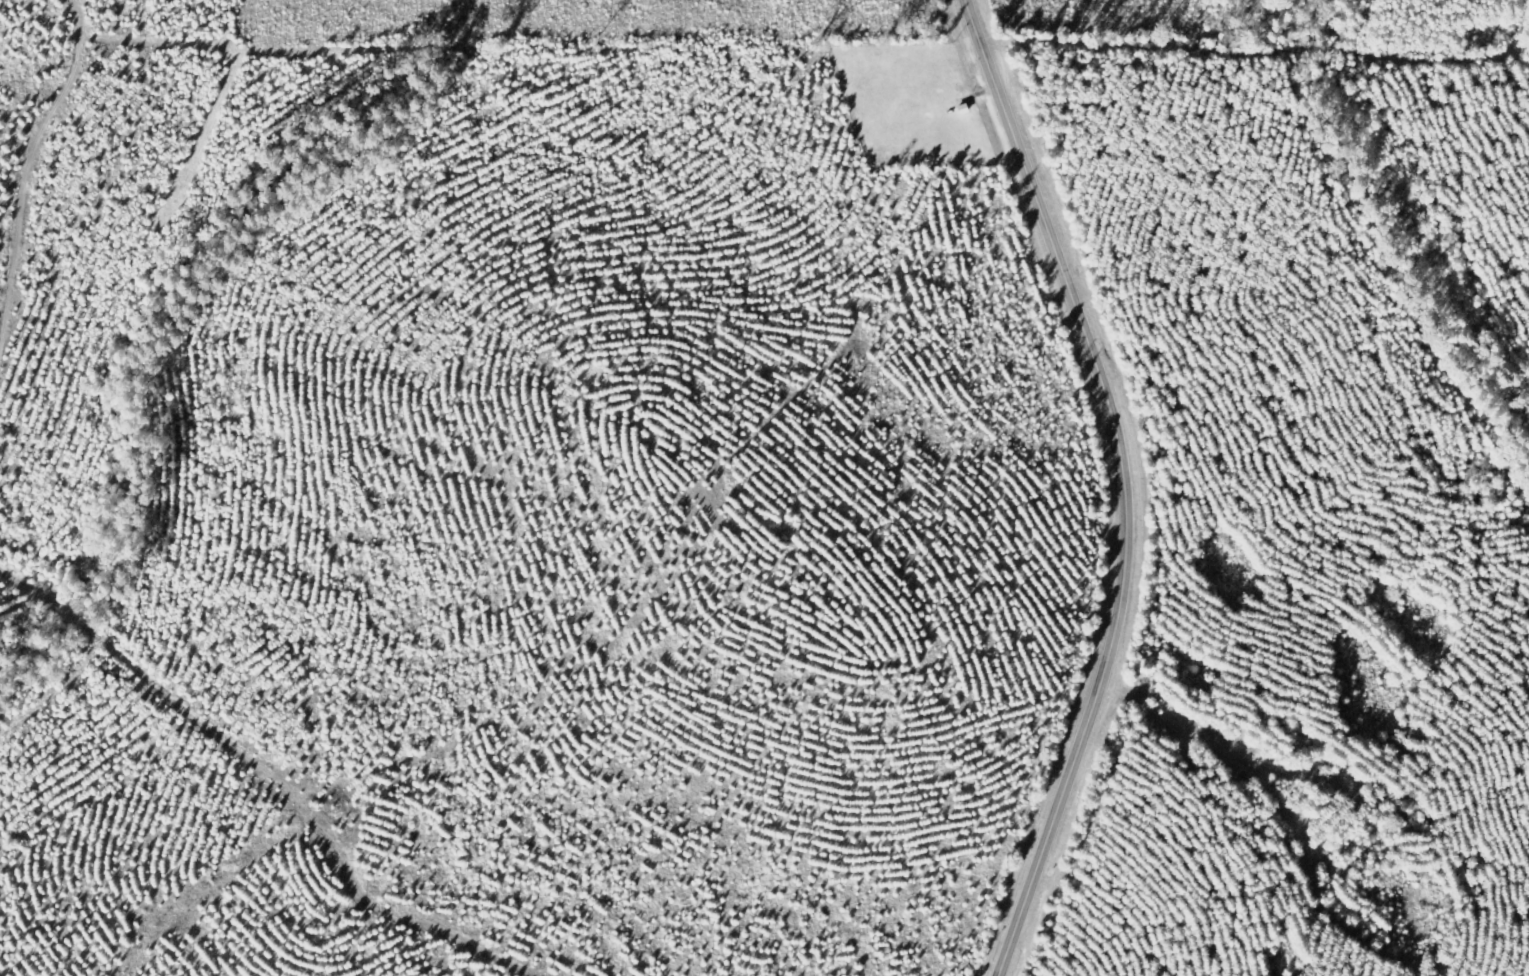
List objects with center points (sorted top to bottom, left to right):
road: (1126, 485)

